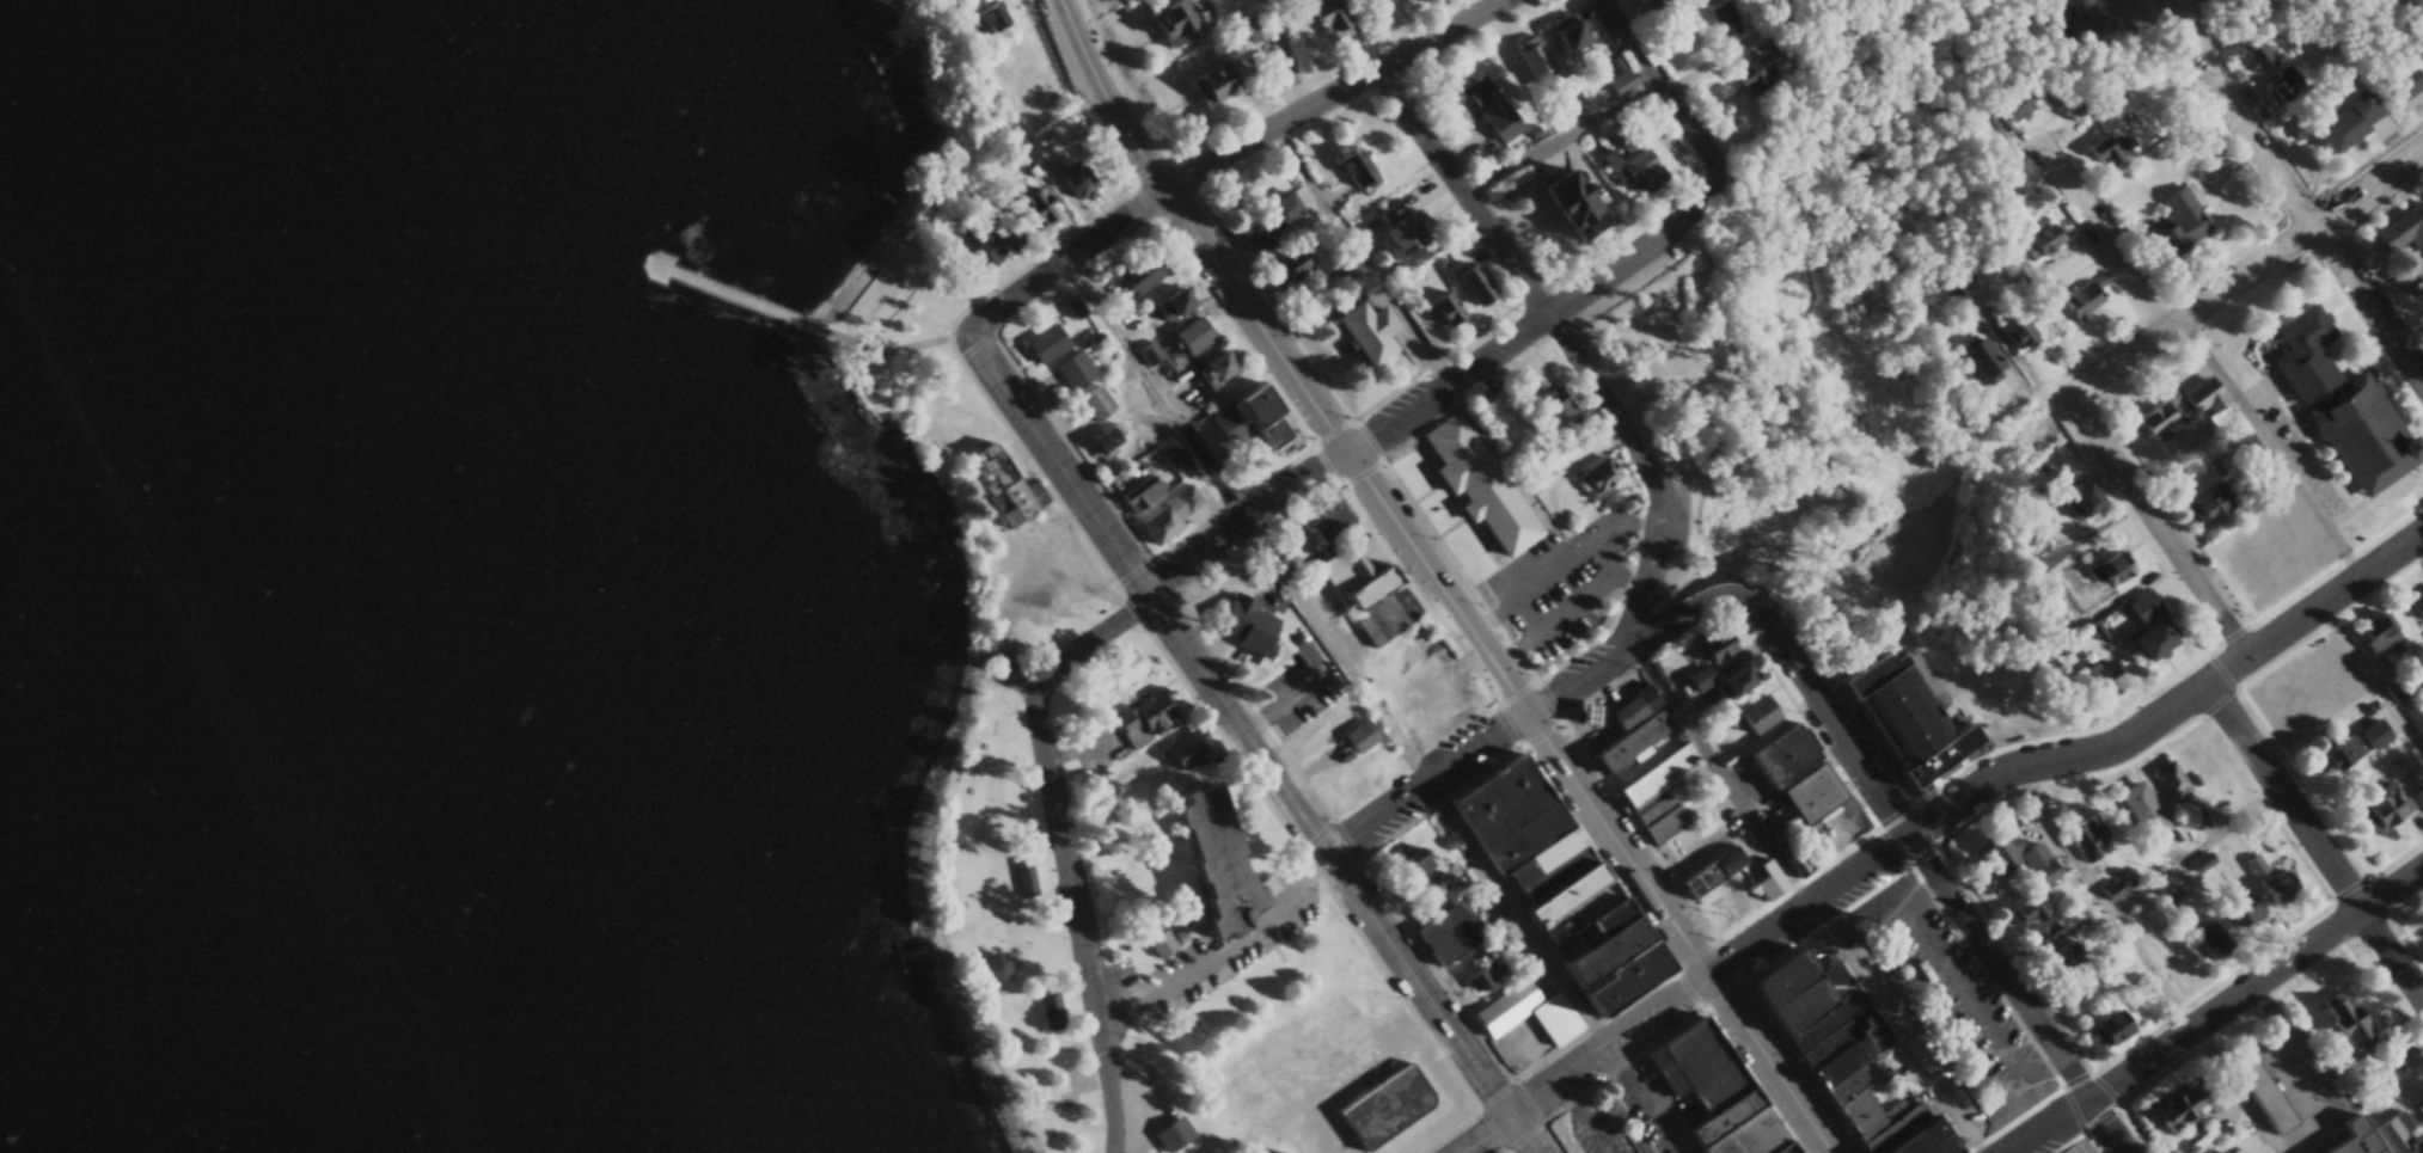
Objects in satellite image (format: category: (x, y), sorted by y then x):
building: (1639, 5)
building: (1721, 13)
building: (1170, 23)
road: (1073, 26)
building: (1249, 27)
building: (1565, 35)
building: (2422, 51)
building: (1529, 56)
building: (1755, 75)
building: (2403, 84)
building: (2282, 85)
building: (1210, 90)
road: (1664, 97)
building: (1489, 108)
building: (2348, 121)
road: (1131, 122)
building: (1622, 137)
road: (1556, 140)
building: (2106, 151)
road: (1225, 162)
building: (1352, 167)
building: (1635, 171)
building: (1077, 180)
road: (2296, 189)
road: (2373, 191)
building: (1558, 204)
building: (1034, 209)
building: (1265, 222)
building: (2178, 223)
building: (1393, 229)
building: (2401, 231)
building: (2033, 240)
road: (2113, 251)
road: (1363, 259)
building: (1285, 265)
building: (2017, 275)
building: (1963, 277)
building: (2412, 278)
building: (1137, 280)
building: (1466, 284)
pier: (730, 295)
building: (2078, 300)
building: (1167, 303)
building: (1072, 307)
building: (1438, 307)
building: (2009, 327)
building: (1359, 332)
building: (1191, 336)
building: (1042, 344)
road: (887, 351)
building: (1149, 351)
road: (1570, 354)
building: (2302, 354)
building: (1978, 358)
building: (1073, 370)
road: (1445, 388)
park: (1786, 393)
road: (2076, 398)
building: (1550, 400)
building: (2196, 400)
building: (1493, 413)
building: (1248, 417)
building: (2358, 435)
building: (1103, 438)
building: (2246, 449)
building: (1595, 477)
building: (1474, 483)
building: (1002, 486)
building: (1139, 496)
building: (2076, 498)
building: (2205, 504)
building: (1165, 515)
road: (1243, 522)
building: (1328, 522)
building: (2030, 569)
building: (2107, 570)
building: (2247, 571)
building: (1353, 581)
building: (2144, 603)
building: (1226, 605)
building: (2416, 607)
building: (2113, 608)
building: (2375, 632)
building: (2143, 642)
building: (1121, 669)
building: (1417, 671)
building: (1736, 673)
road: (2374, 673)
road: (1507, 675)
building: (2100, 679)
building: (1286, 689)
road: (1543, 699)
building: (1632, 707)
building: (2416, 713)
building: (1585, 715)
road: (1244, 716)
building: (1910, 719)
building: (1143, 723)
building: (1738, 723)
building: (1354, 738)
building: (2336, 749)
road: (2072, 752)
building: (1778, 755)
building: (1336, 781)
building: (2172, 784)
building: (1815, 789)
building: (2418, 797)
building: (1664, 803)
building: (2380, 808)
building: (2142, 810)
road: (1066, 835)
road: (2314, 844)
building: (2091, 846)
building: (2015, 855)
building: (1788, 859)
building: (2258, 864)
building: (1412, 865)
building: (1210, 866)
building: (1470, 873)
building: (1762, 882)
building: (2277, 887)
road: (1952, 899)
building: (1543, 902)
road: (1804, 902)
building: (2039, 903)
building: (2244, 910)
building: (2422, 924)
park: (1003, 925)
building: (2056, 925)
building: (2086, 932)
building: (2211, 940)
road: (2140, 947)
building: (2056, 955)
building: (1476, 956)
building: (990, 969)
building: (2173, 973)
building: (1486, 975)
parking lot: (1965, 992)
building: (2341, 1017)
road: (2225, 1019)
building: (2106, 1028)
building: (1843, 1060)
road: (1586, 1061)
building: (1708, 1091)
road: (1648, 1098)
building: (2180, 1104)
building: (1379, 1105)
parking lot: (1640, 1117)
parking lot: (1596, 1130)
road: (1530, 1131)
building: (2401, 1131)
building: (1171, 1134)
building: (2349, 1137)
parking lot: (2080, 1147)

